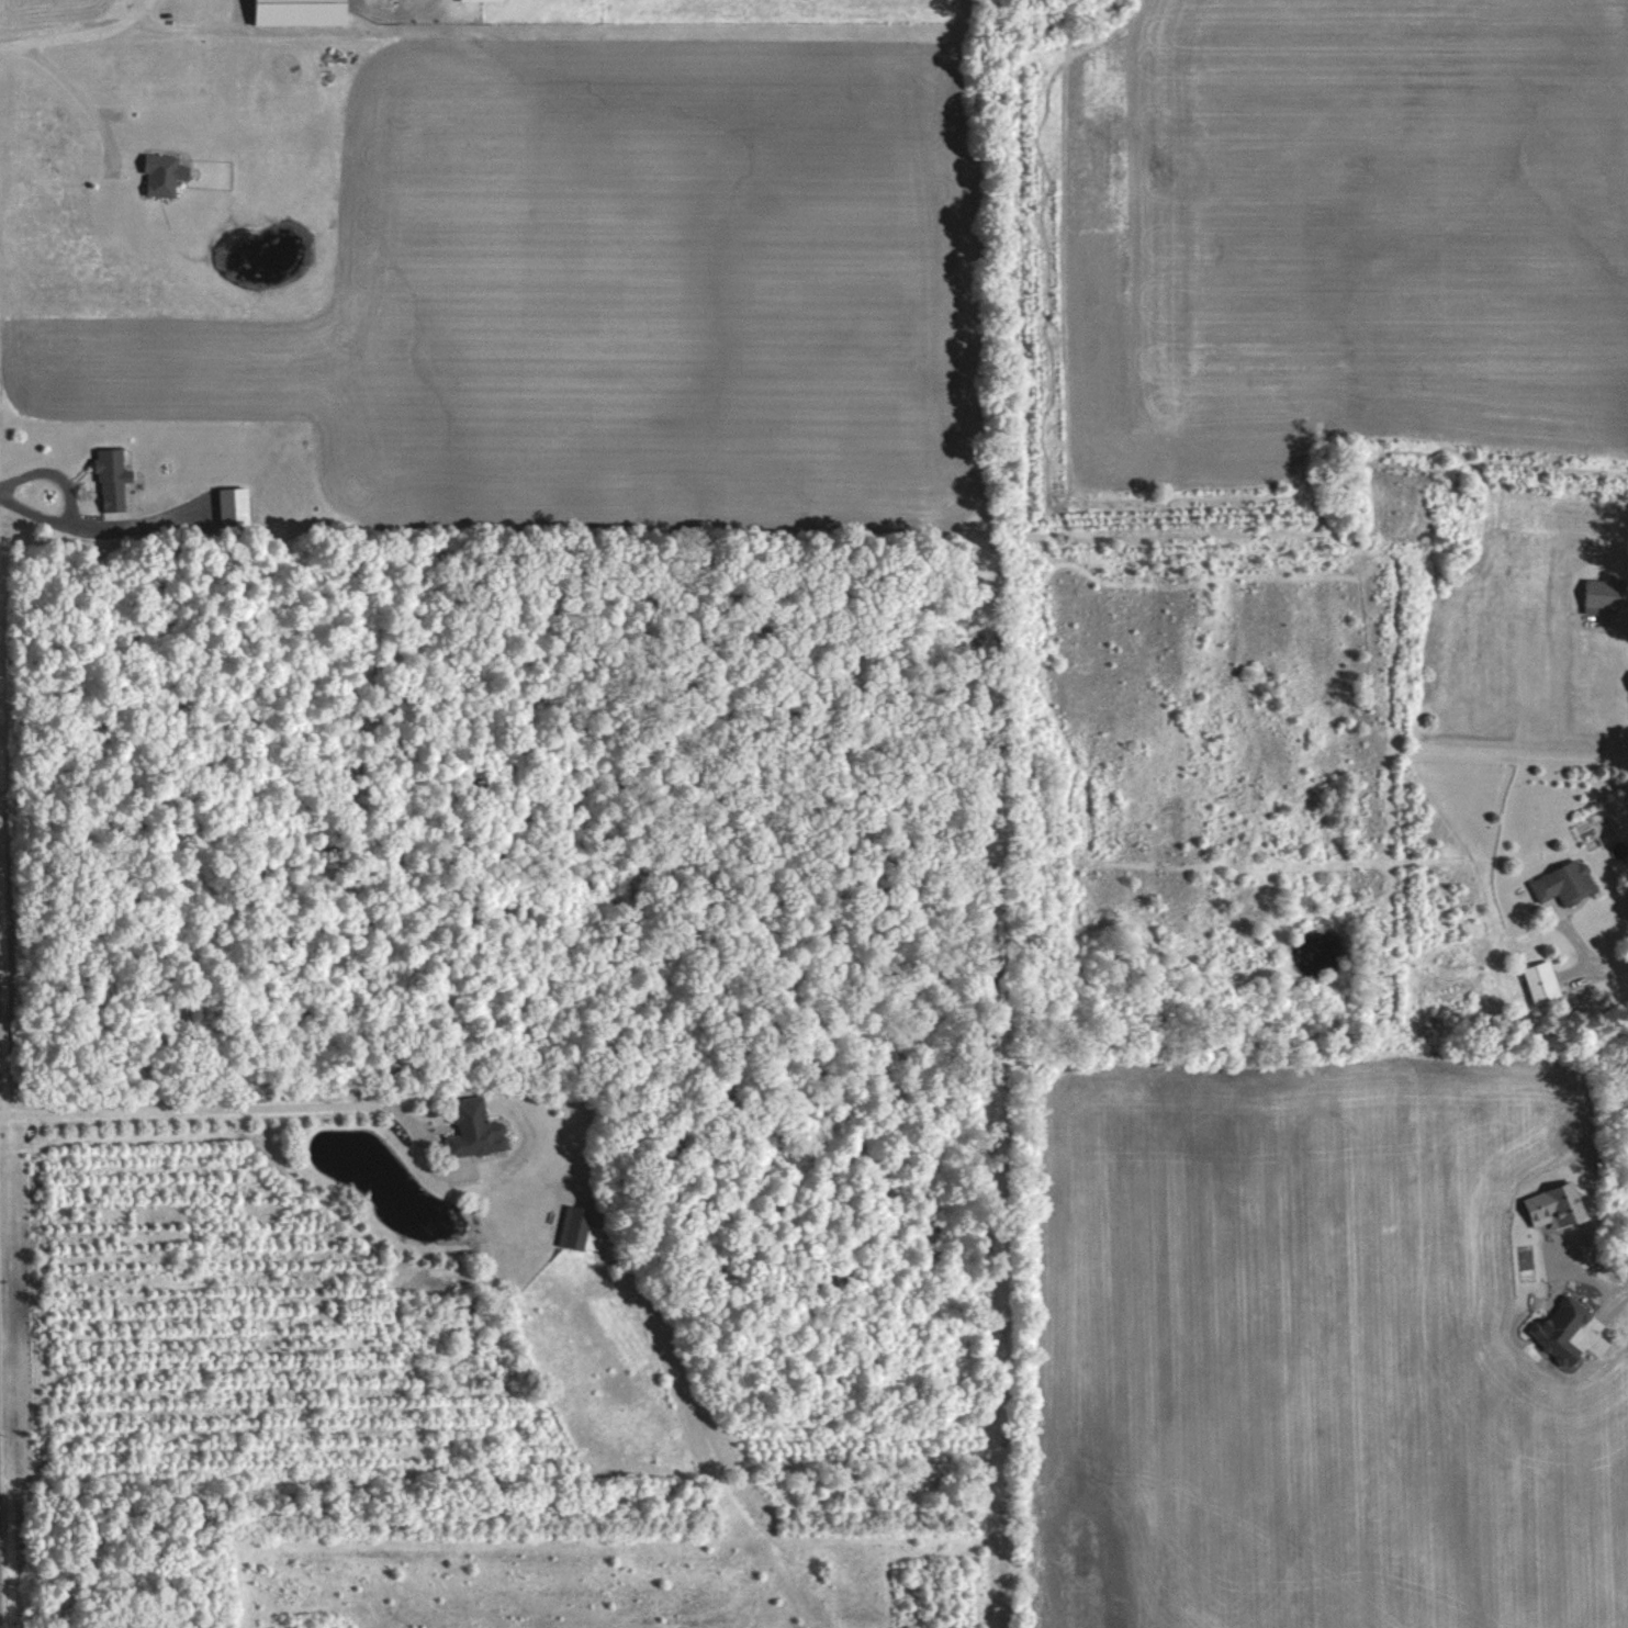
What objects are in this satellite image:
building: (481, 1)
building: (301, 13)
road: (141, 19)
road: (119, 36)
road: (80, 97)
building: (162, 175)
building: (112, 480)
building: (235, 508)
road: (96, 527)
building: (1625, 680)
building: (1557, 882)
road: (1590, 959)
building: (1532, 981)
road: (252, 1101)
building: (474, 1129)
building: (1543, 1205)
building: (573, 1226)

